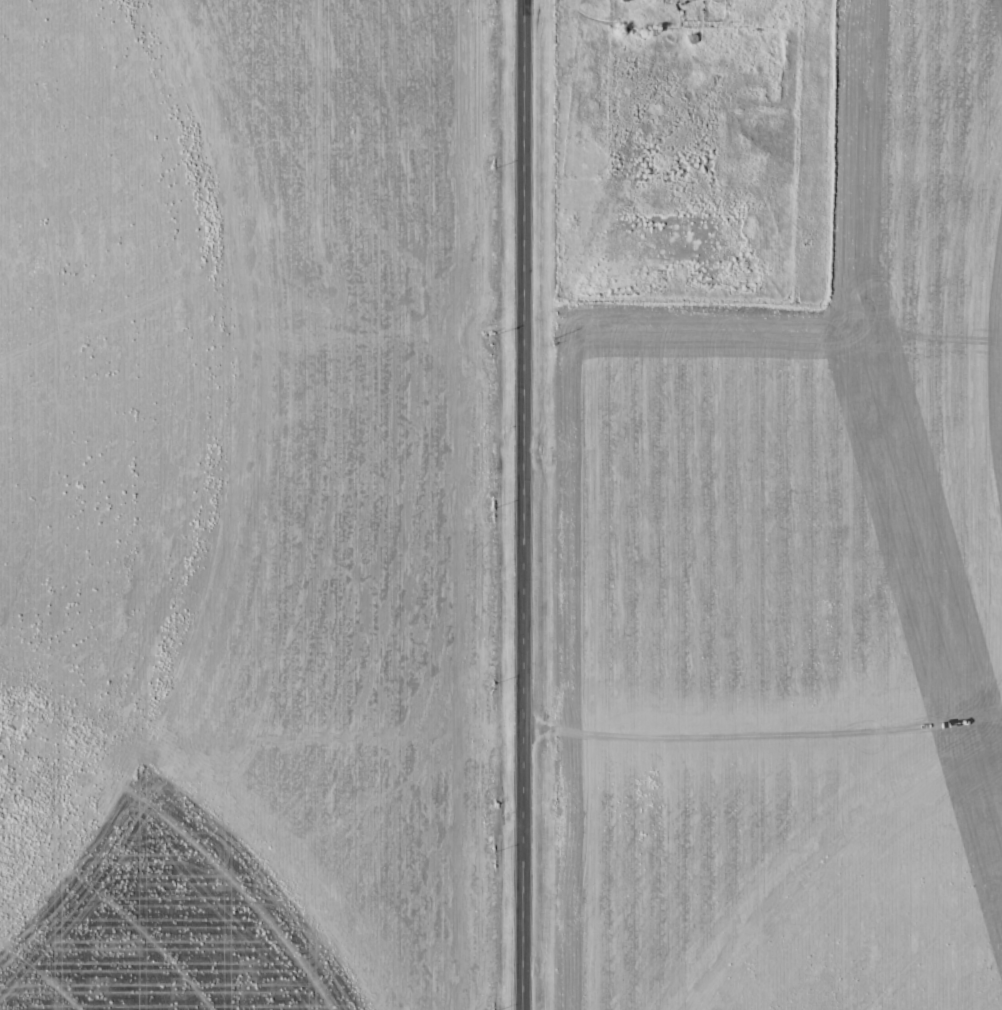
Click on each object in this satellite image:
road: (521, 505)

